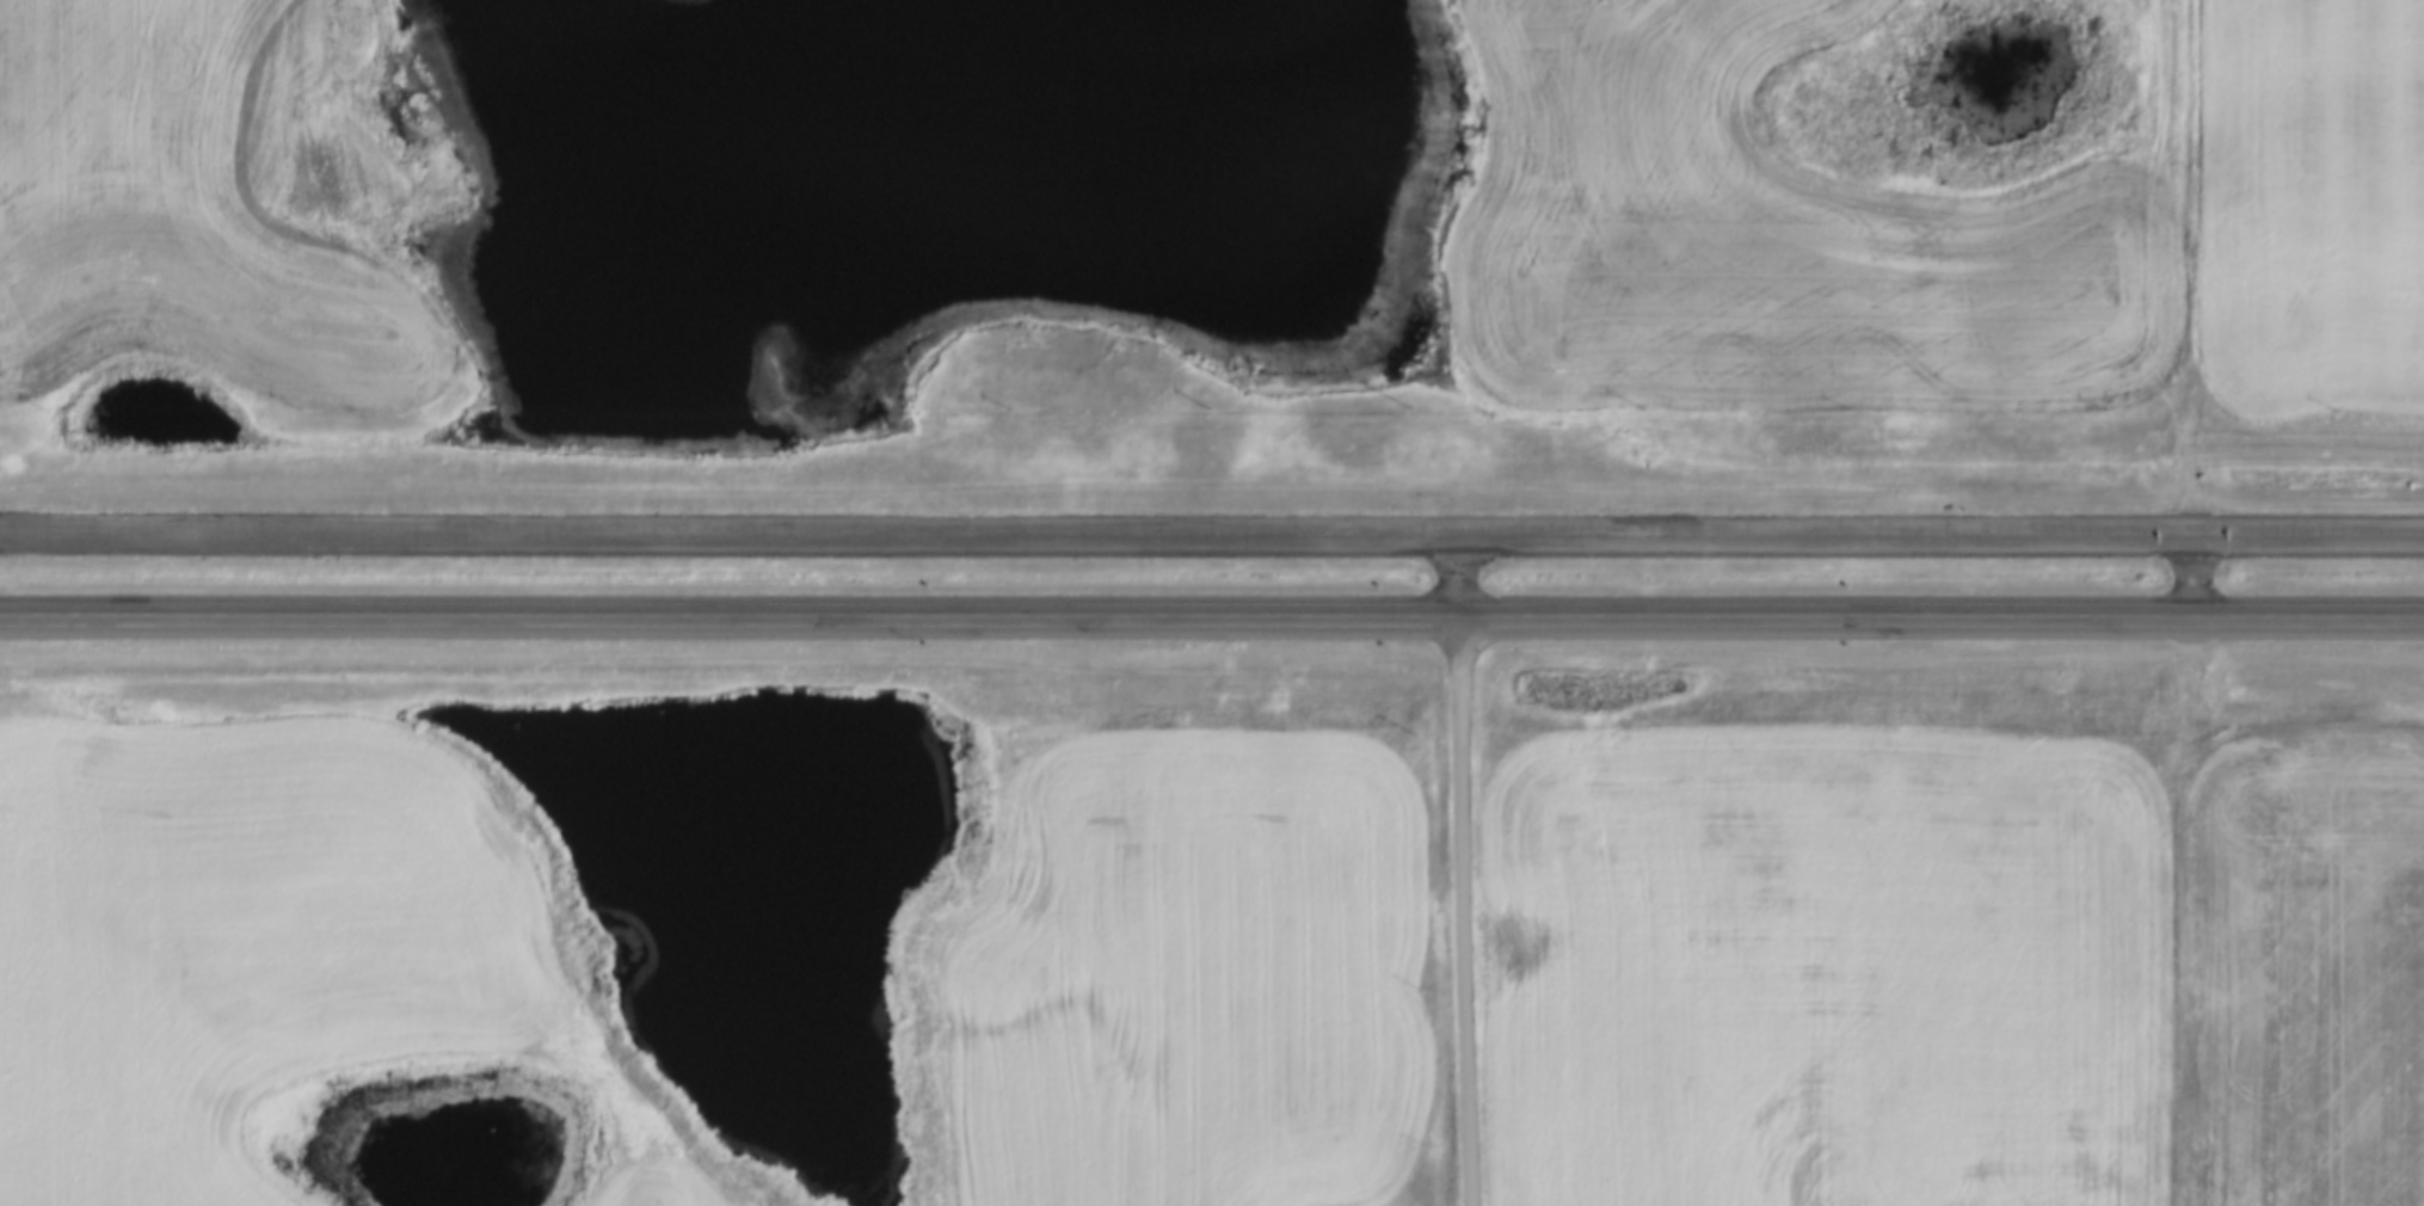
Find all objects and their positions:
road: (2200, 271)
road: (1212, 543)
road: (2197, 576)
road: (1460, 579)
road: (1212, 613)
road: (1459, 910)

